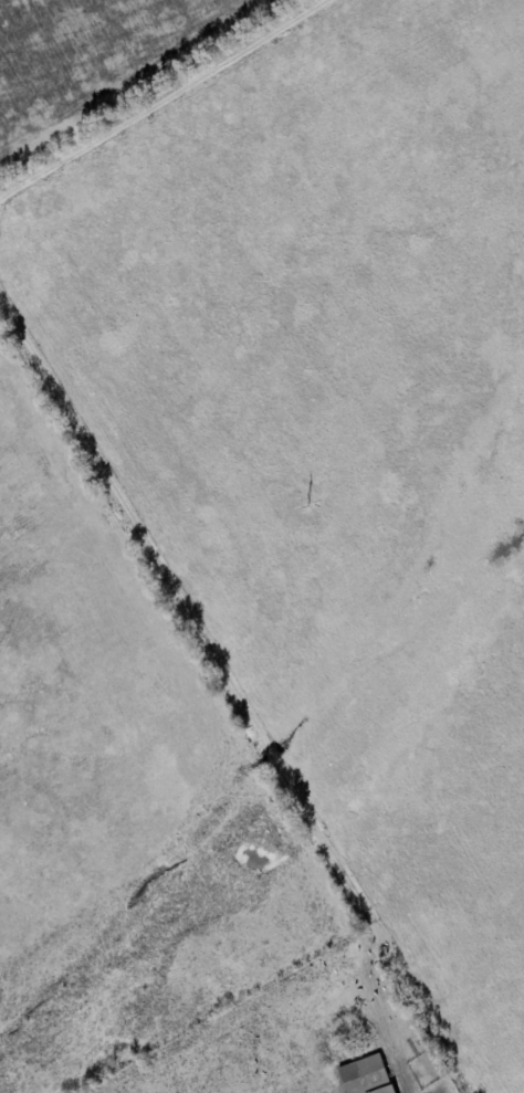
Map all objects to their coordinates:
power tower: (308, 501)
building: (367, 1078)

